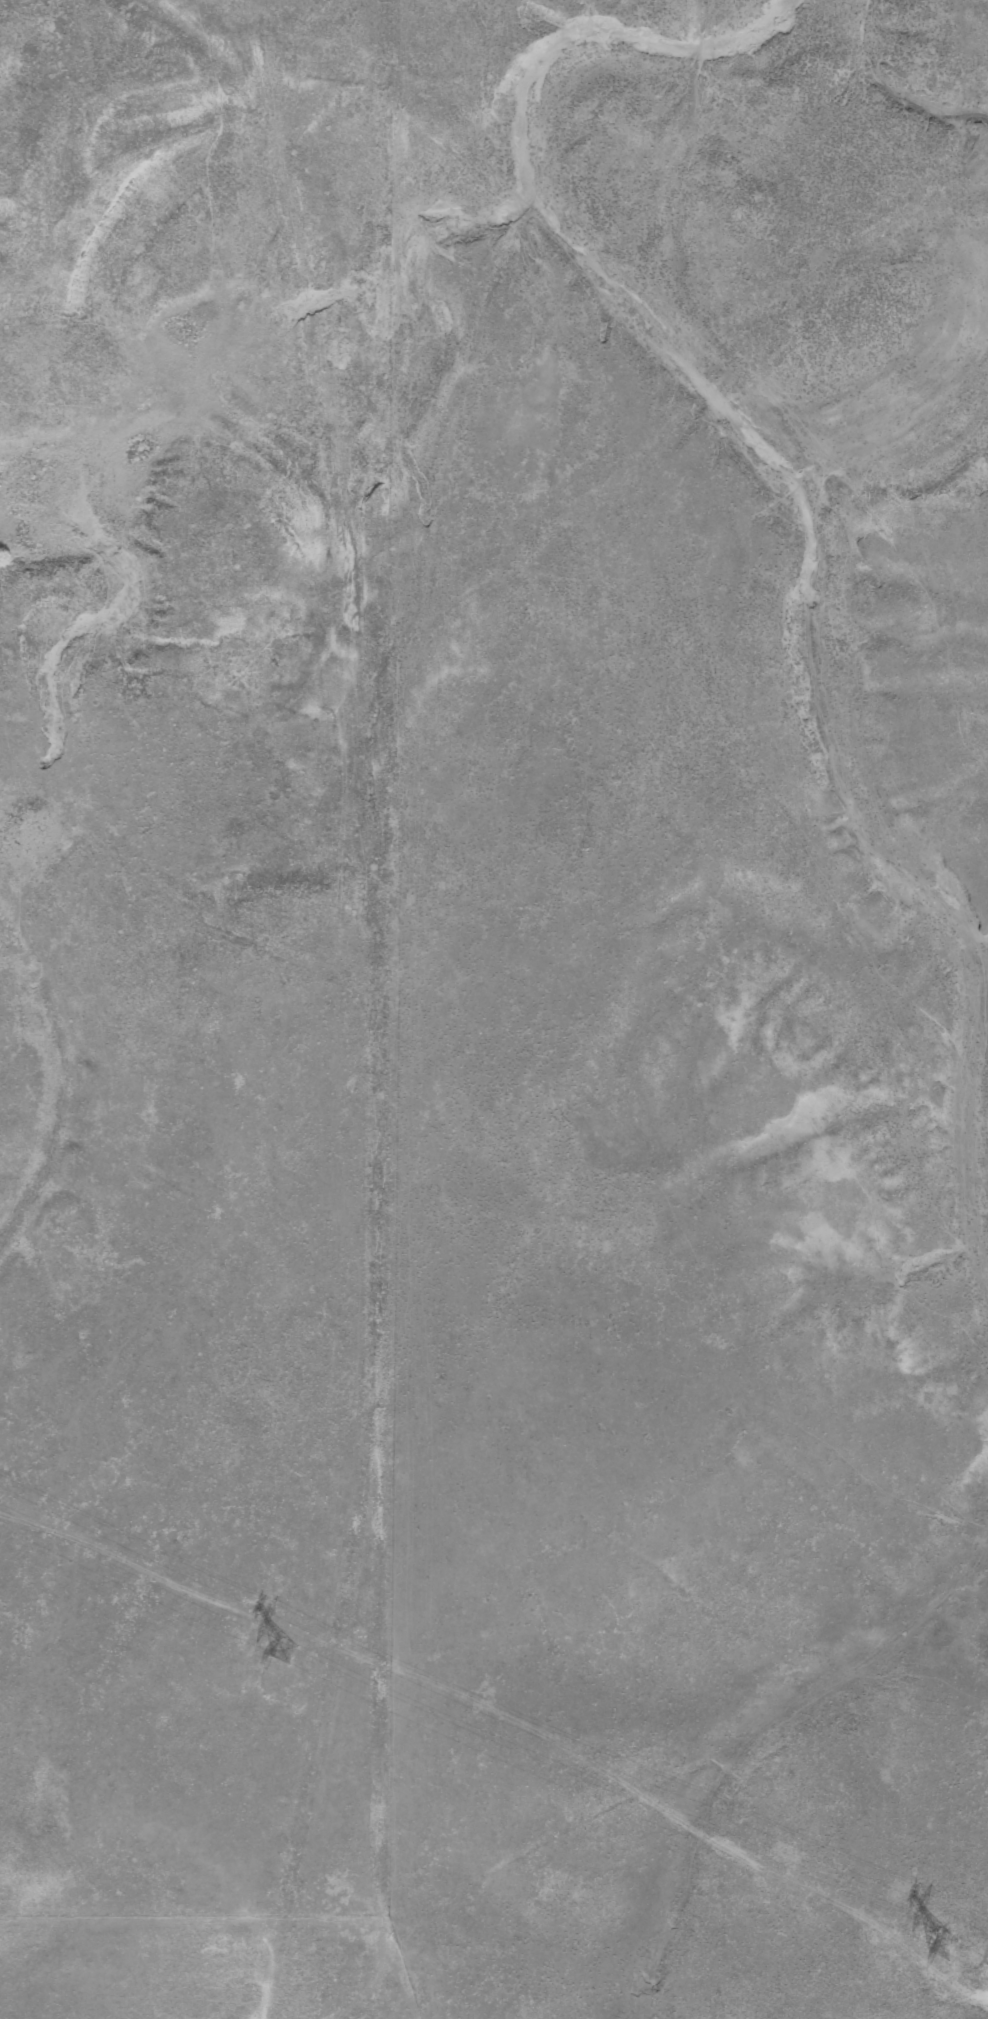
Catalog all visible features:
road: (485, 367)
road: (357, 1033)
power tower: (285, 1653)
road: (673, 1814)
power tower: (943, 1948)

